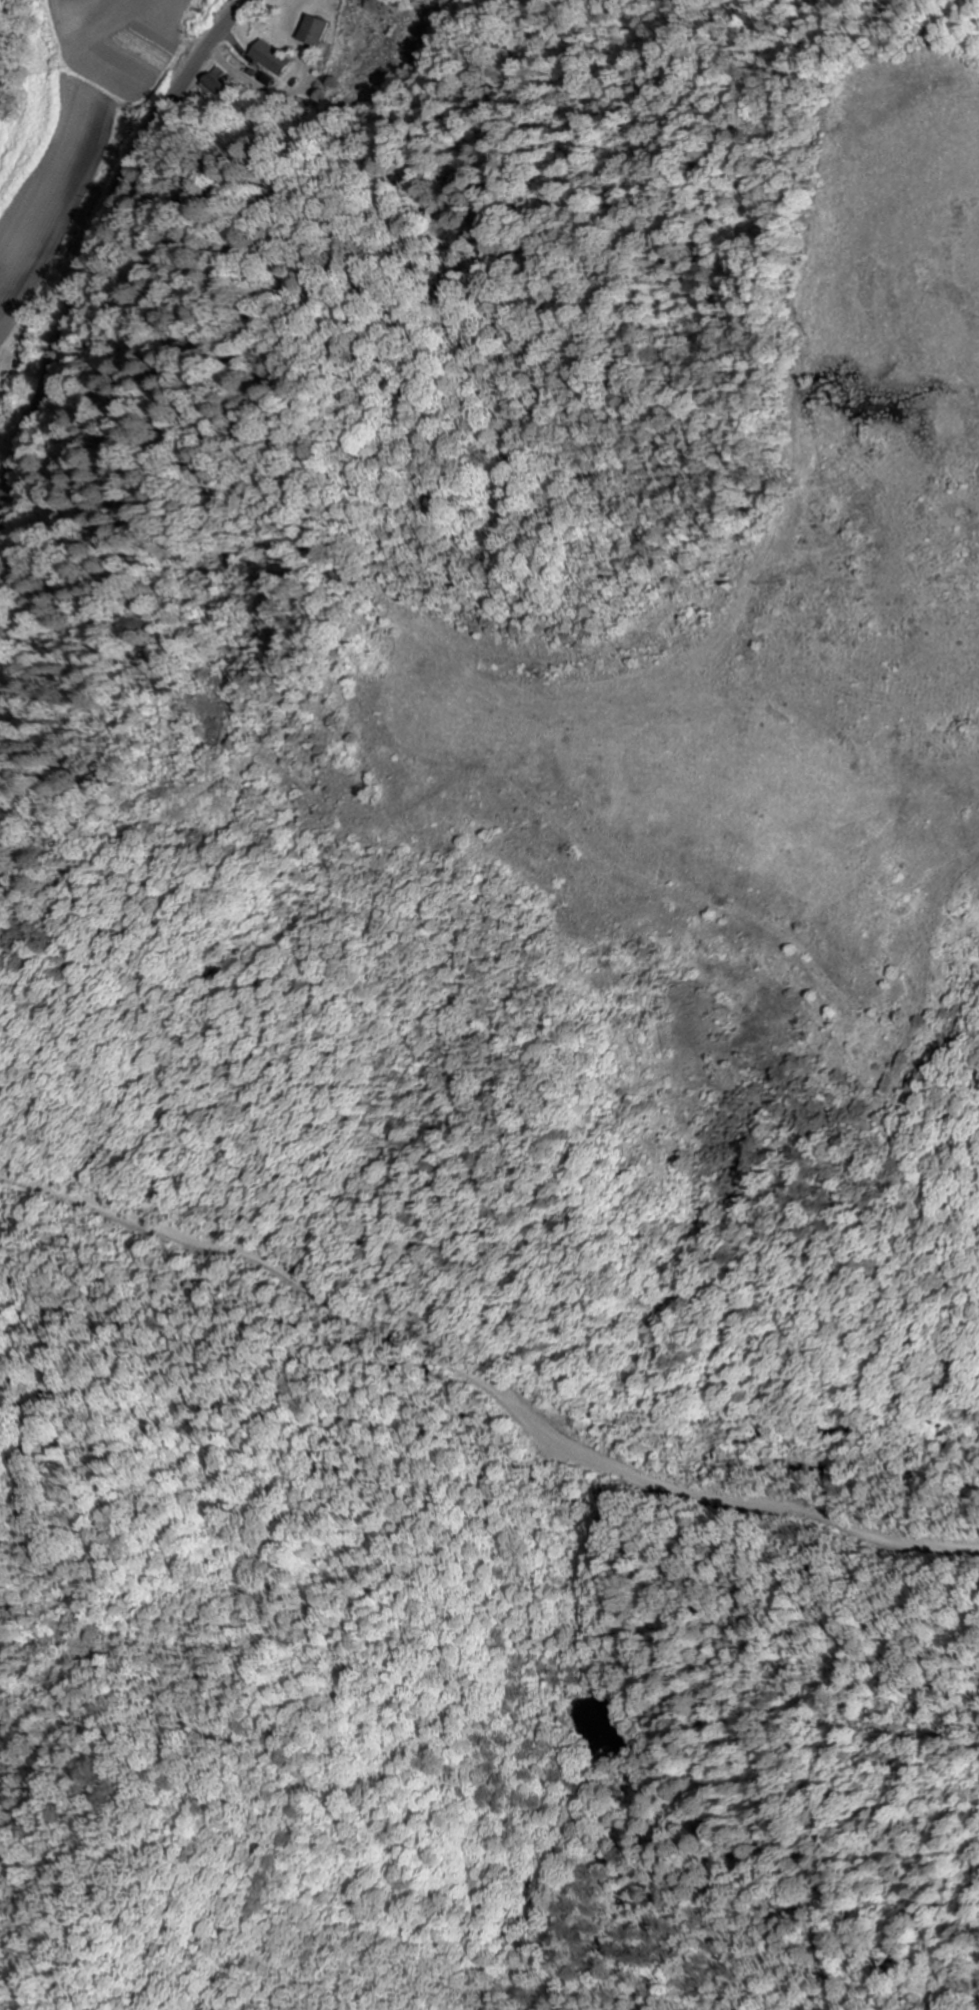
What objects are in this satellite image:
building: (315, 33)
building: (270, 59)
building: (214, 89)
road: (103, 241)
road: (472, 1403)

